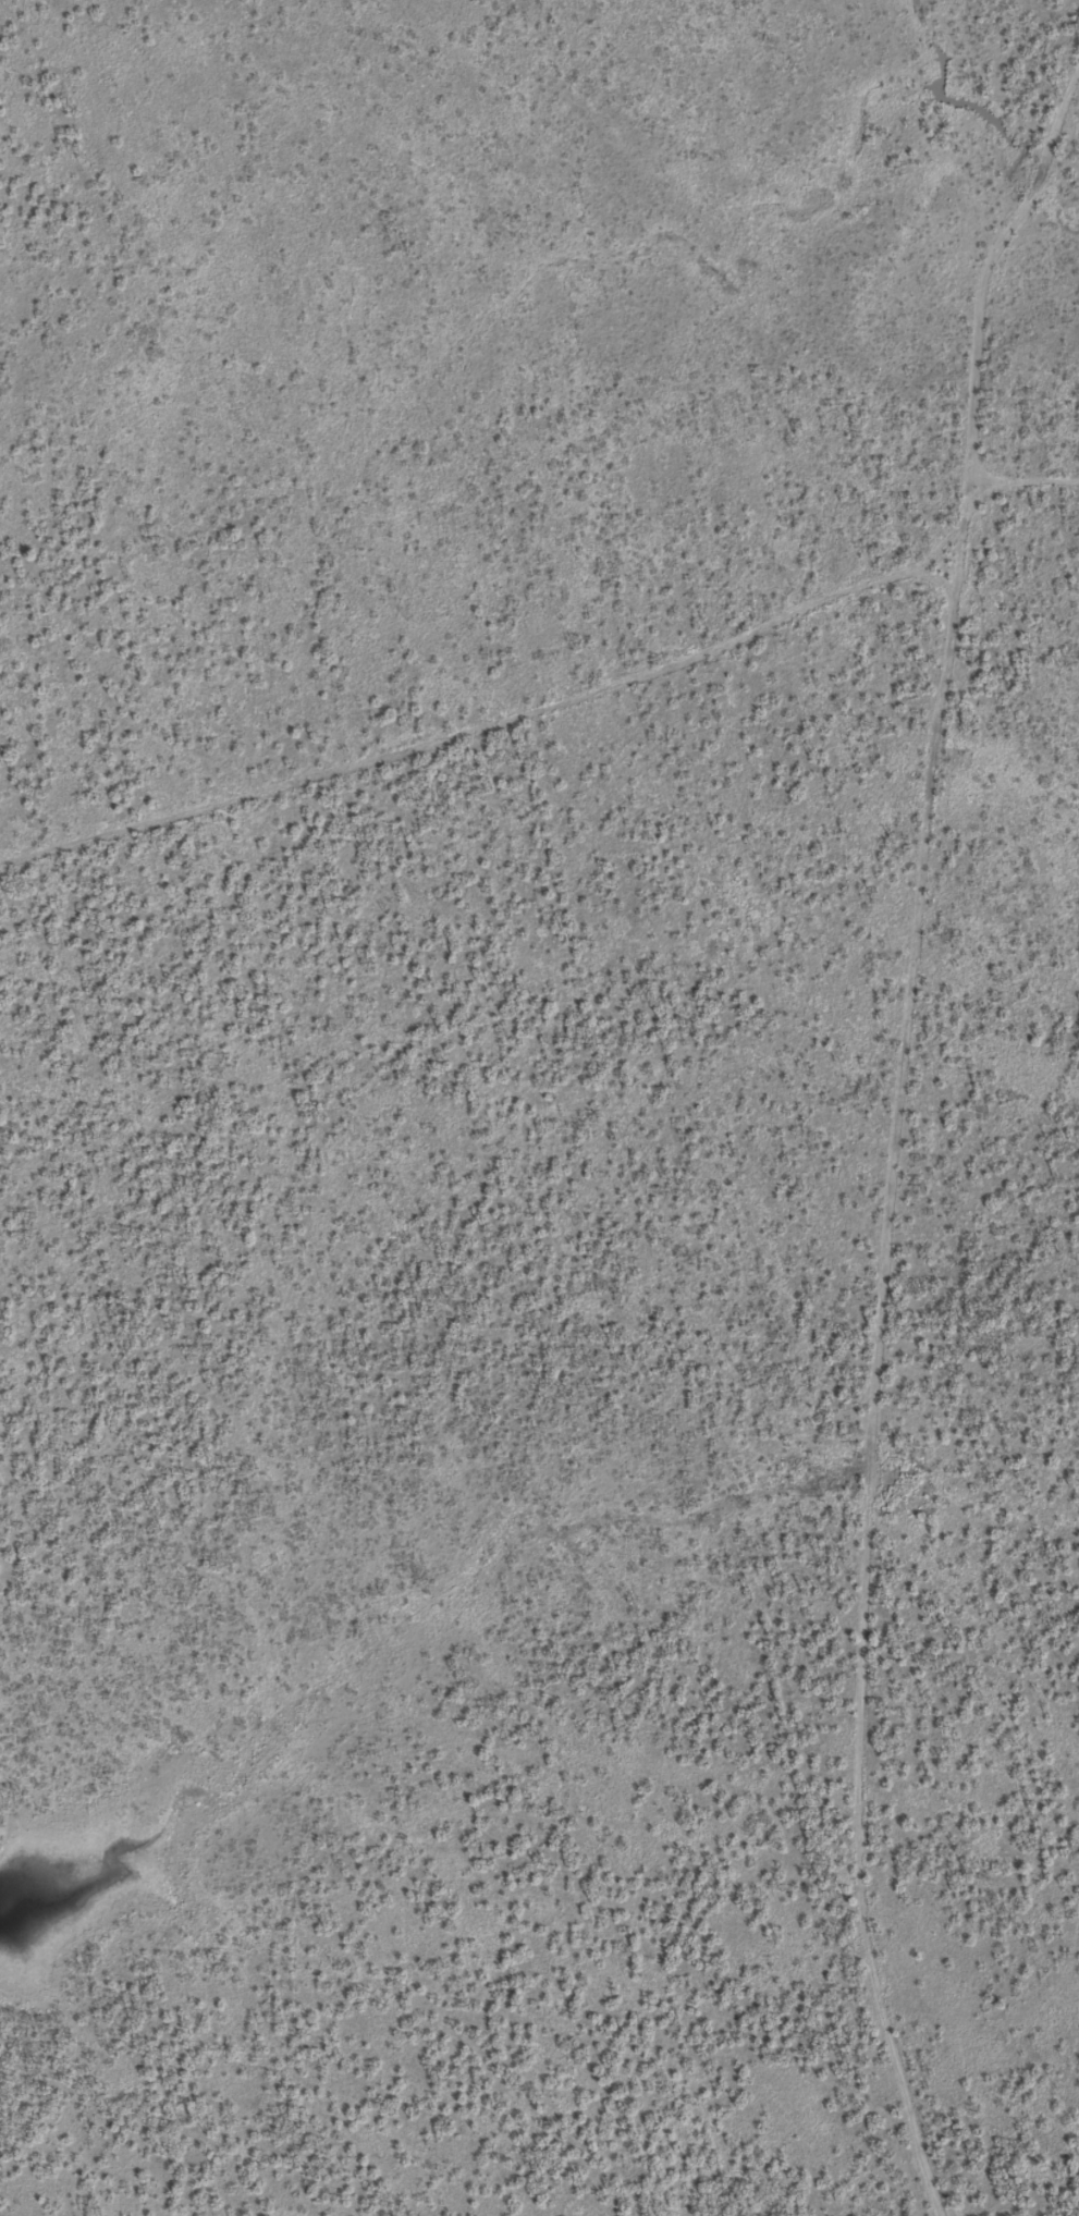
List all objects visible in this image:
road: (1020, 461)
road: (912, 1143)

